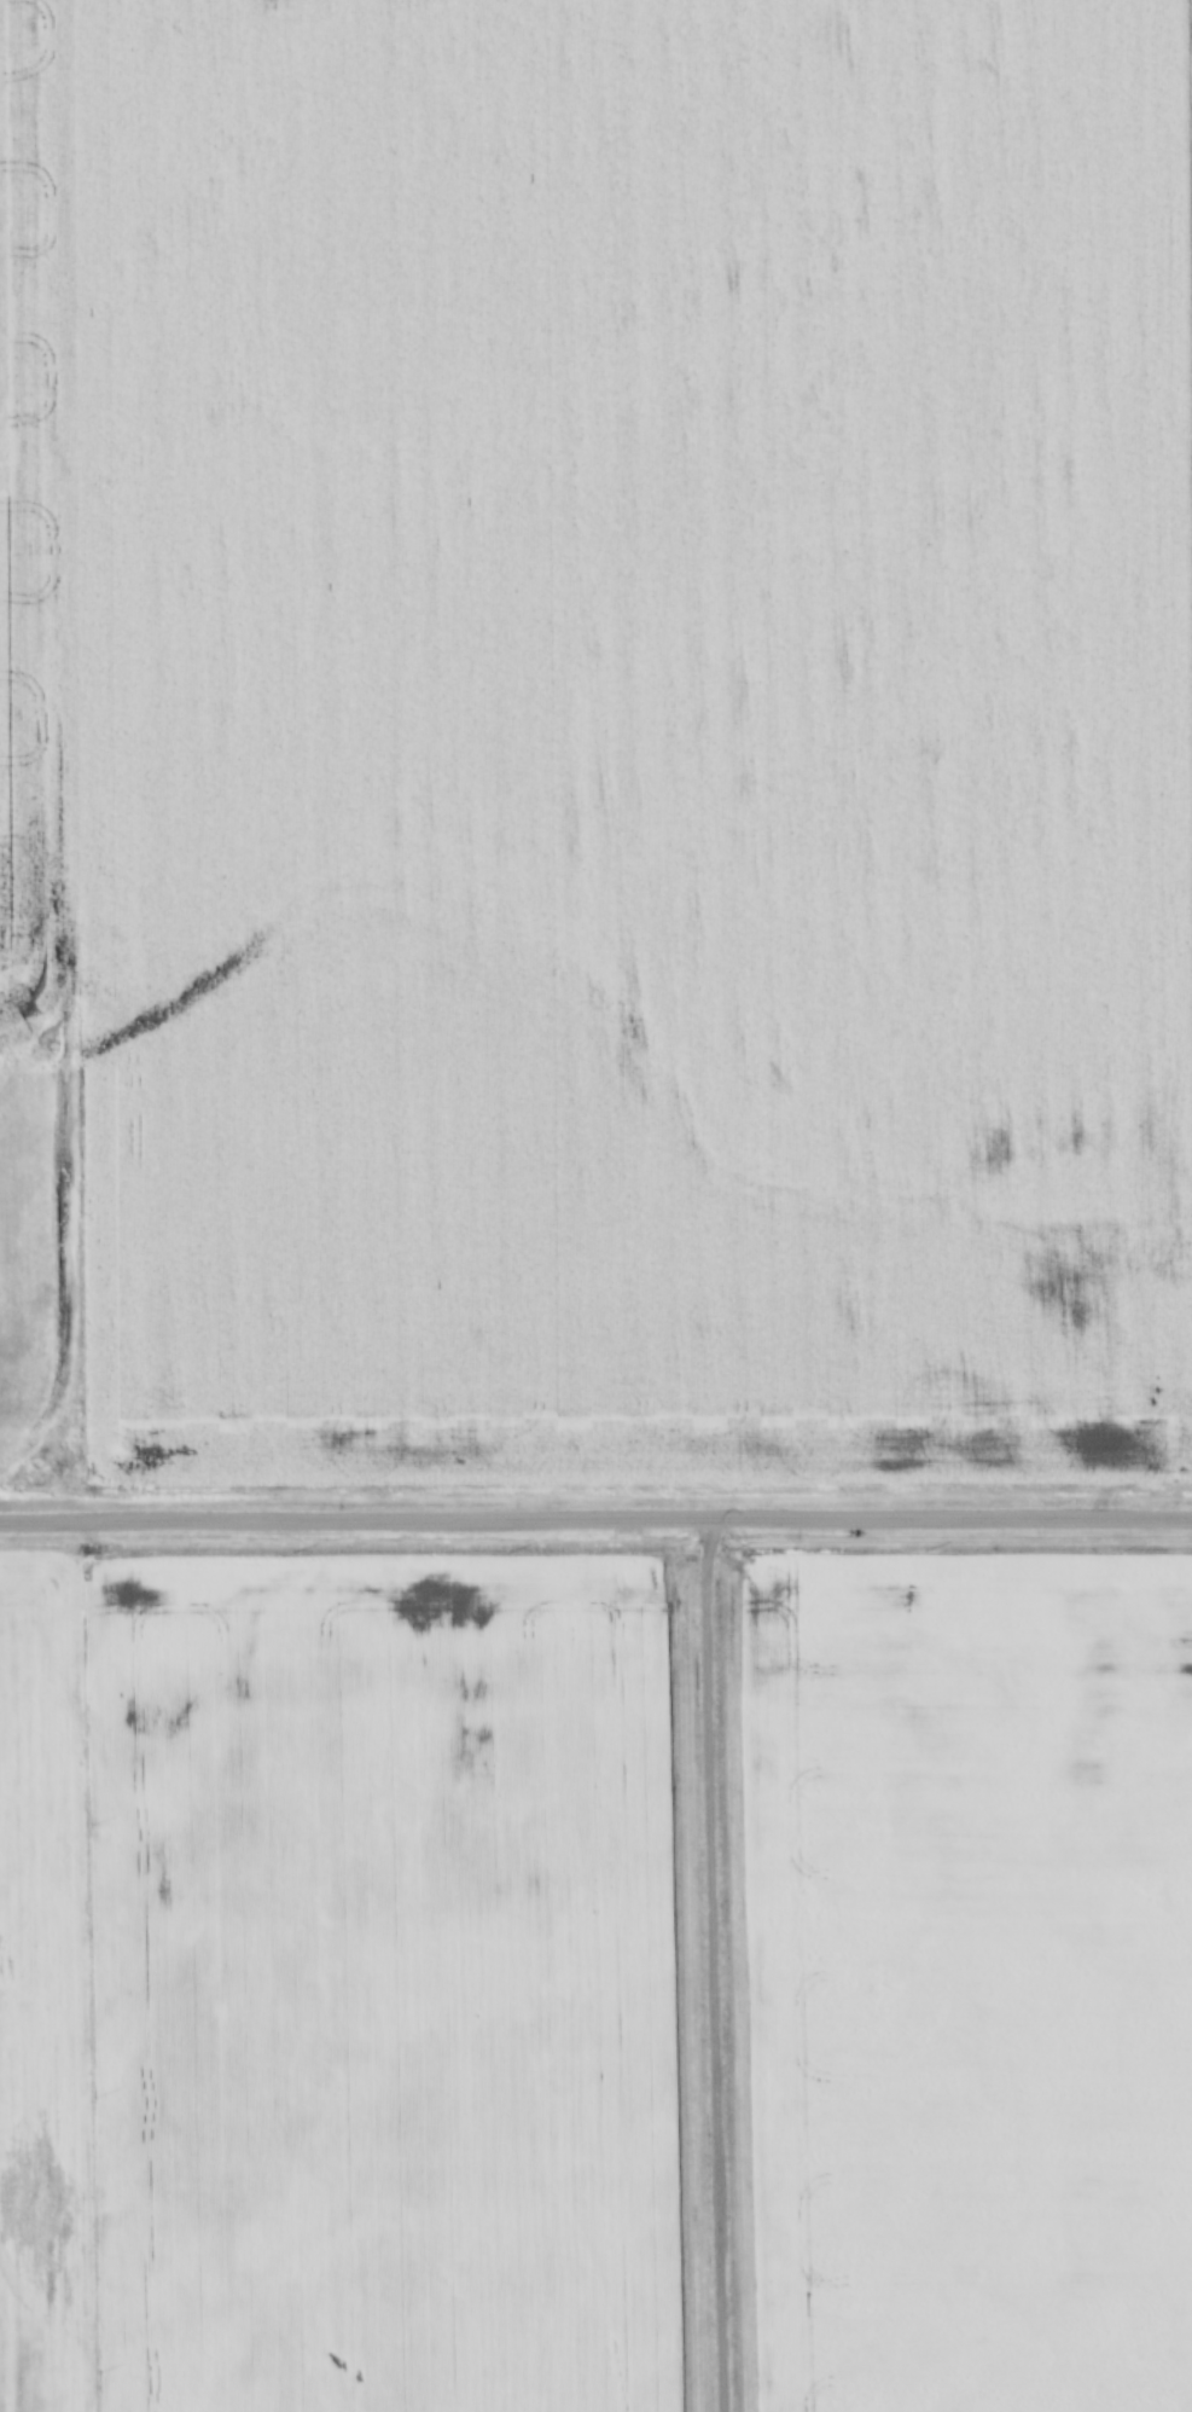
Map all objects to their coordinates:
road: (595, 1520)
road: (714, 1966)

